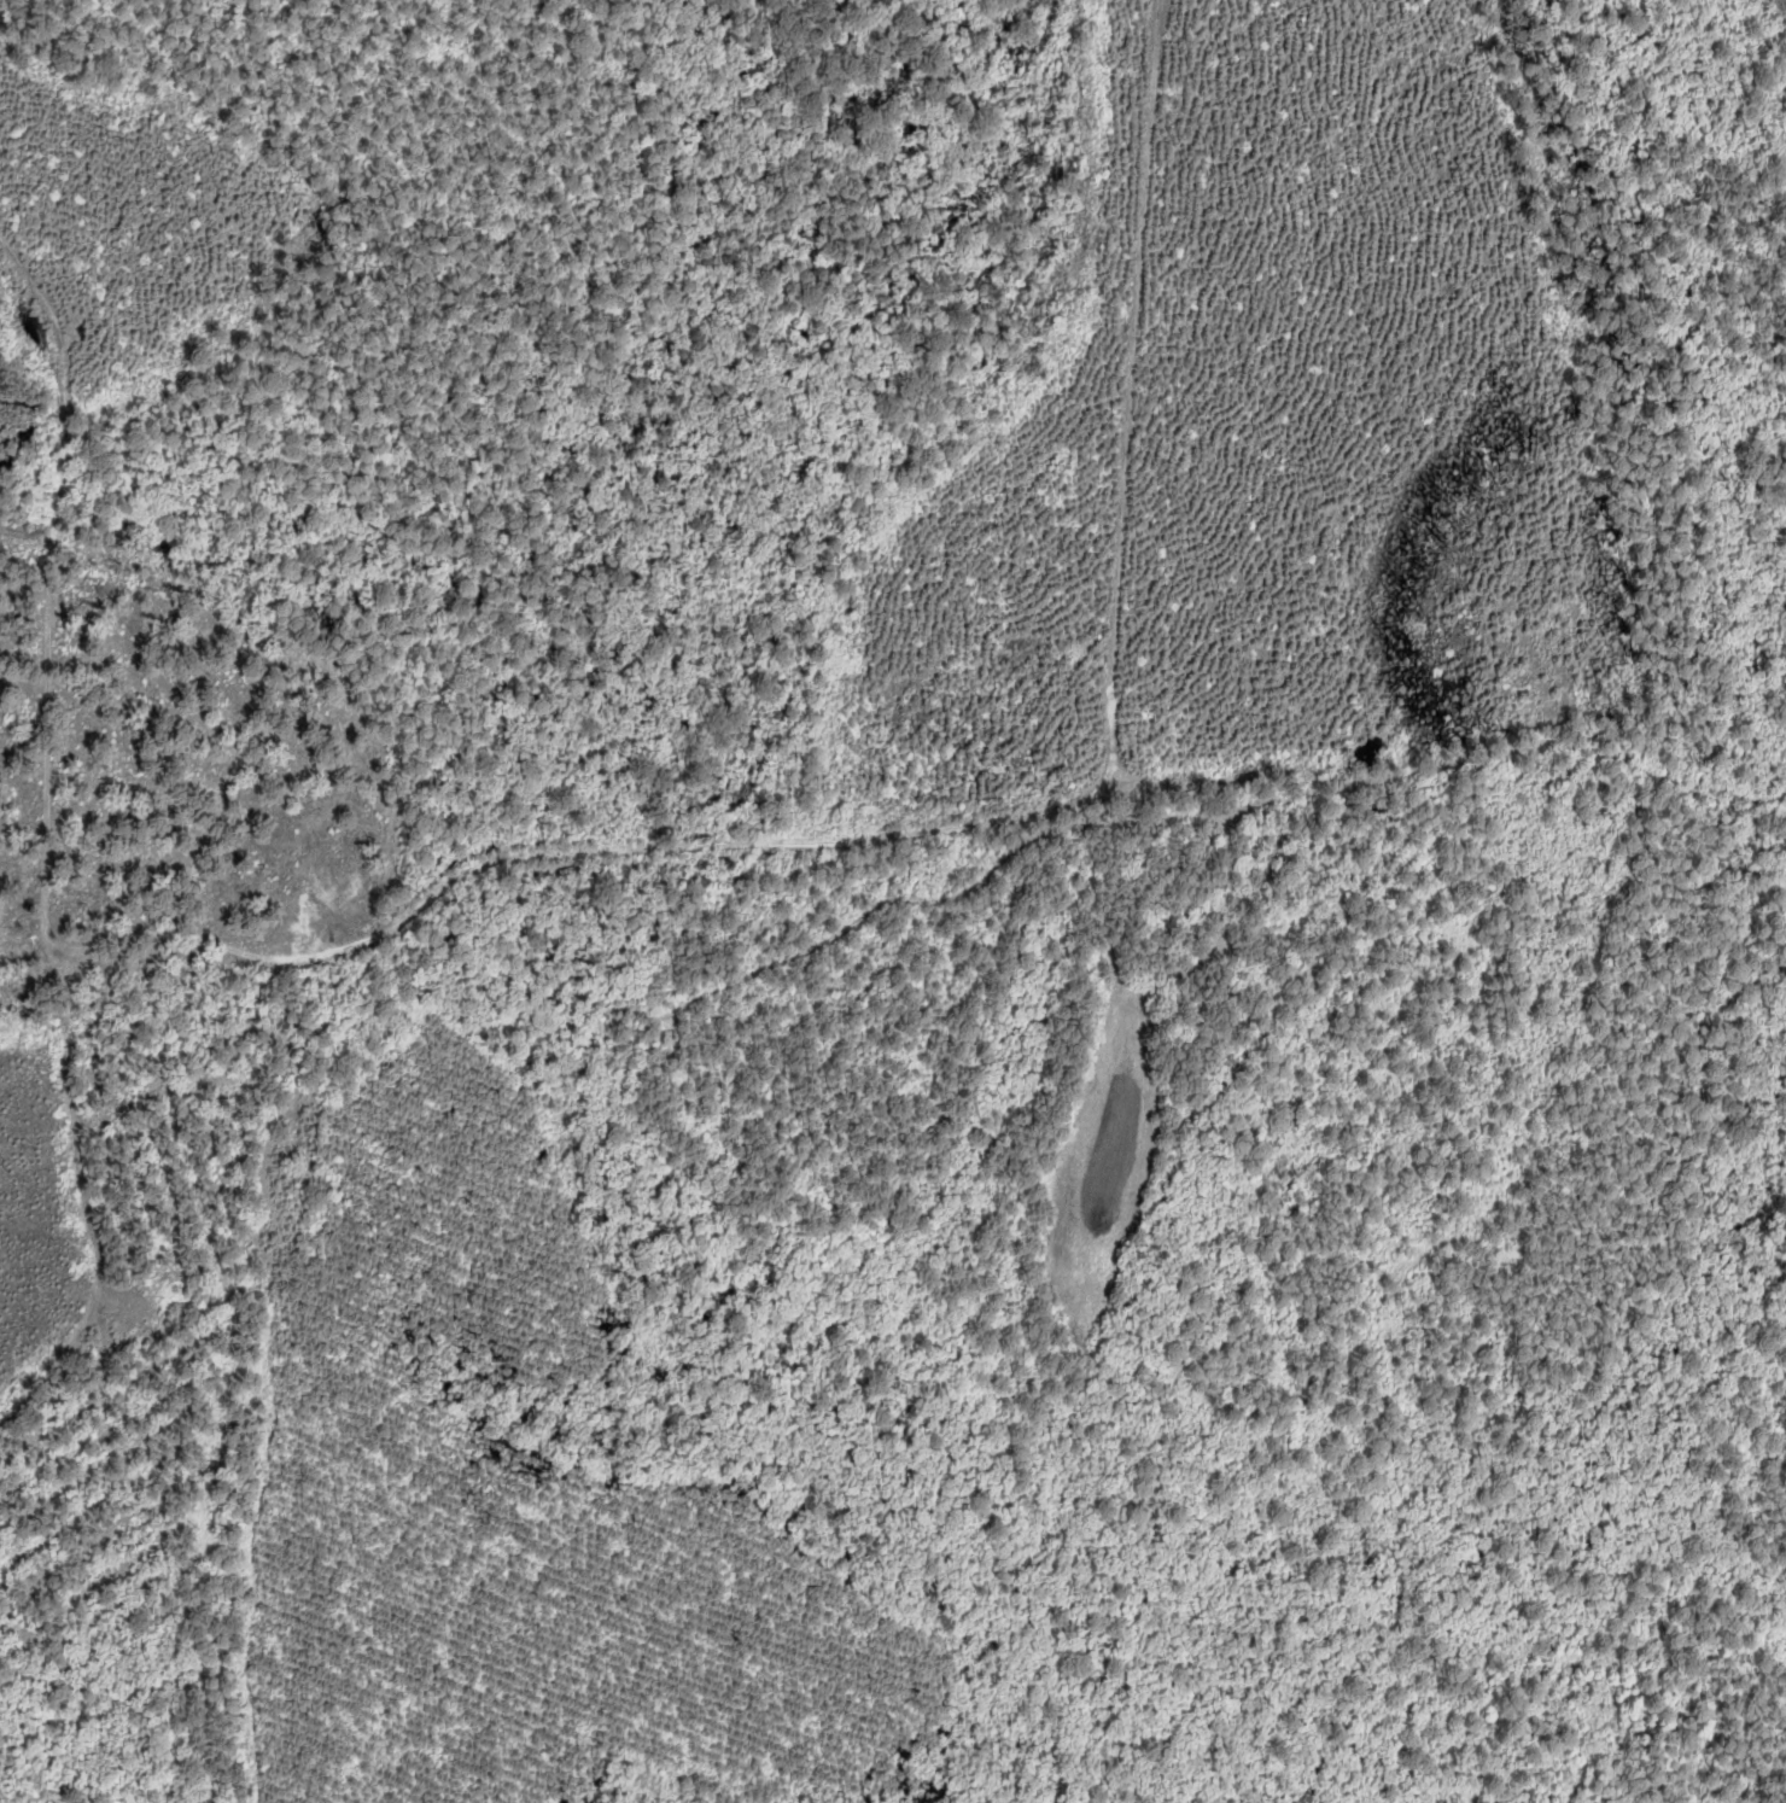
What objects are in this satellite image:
park: (1527, 1125)

